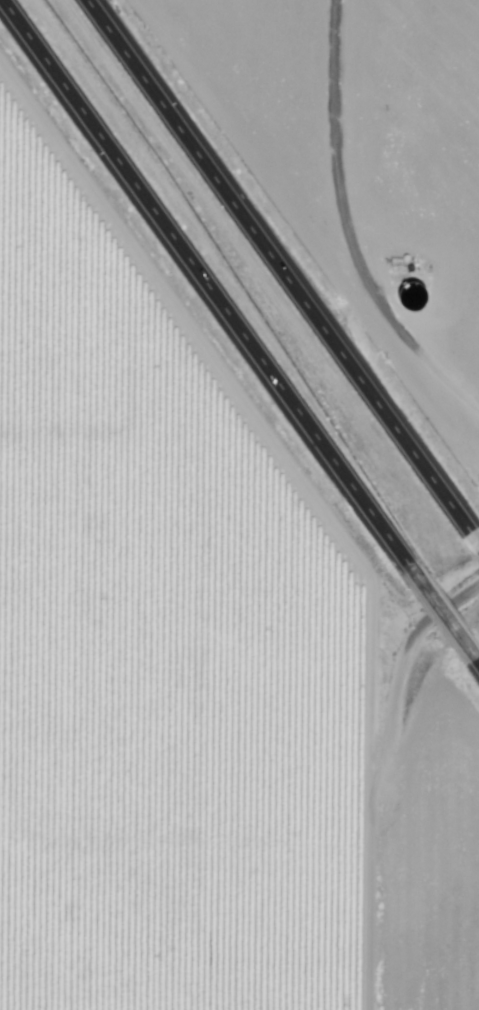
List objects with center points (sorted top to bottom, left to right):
road: (271, 268)
road: (201, 284)
road: (471, 546)
road: (437, 612)
road: (475, 663)

